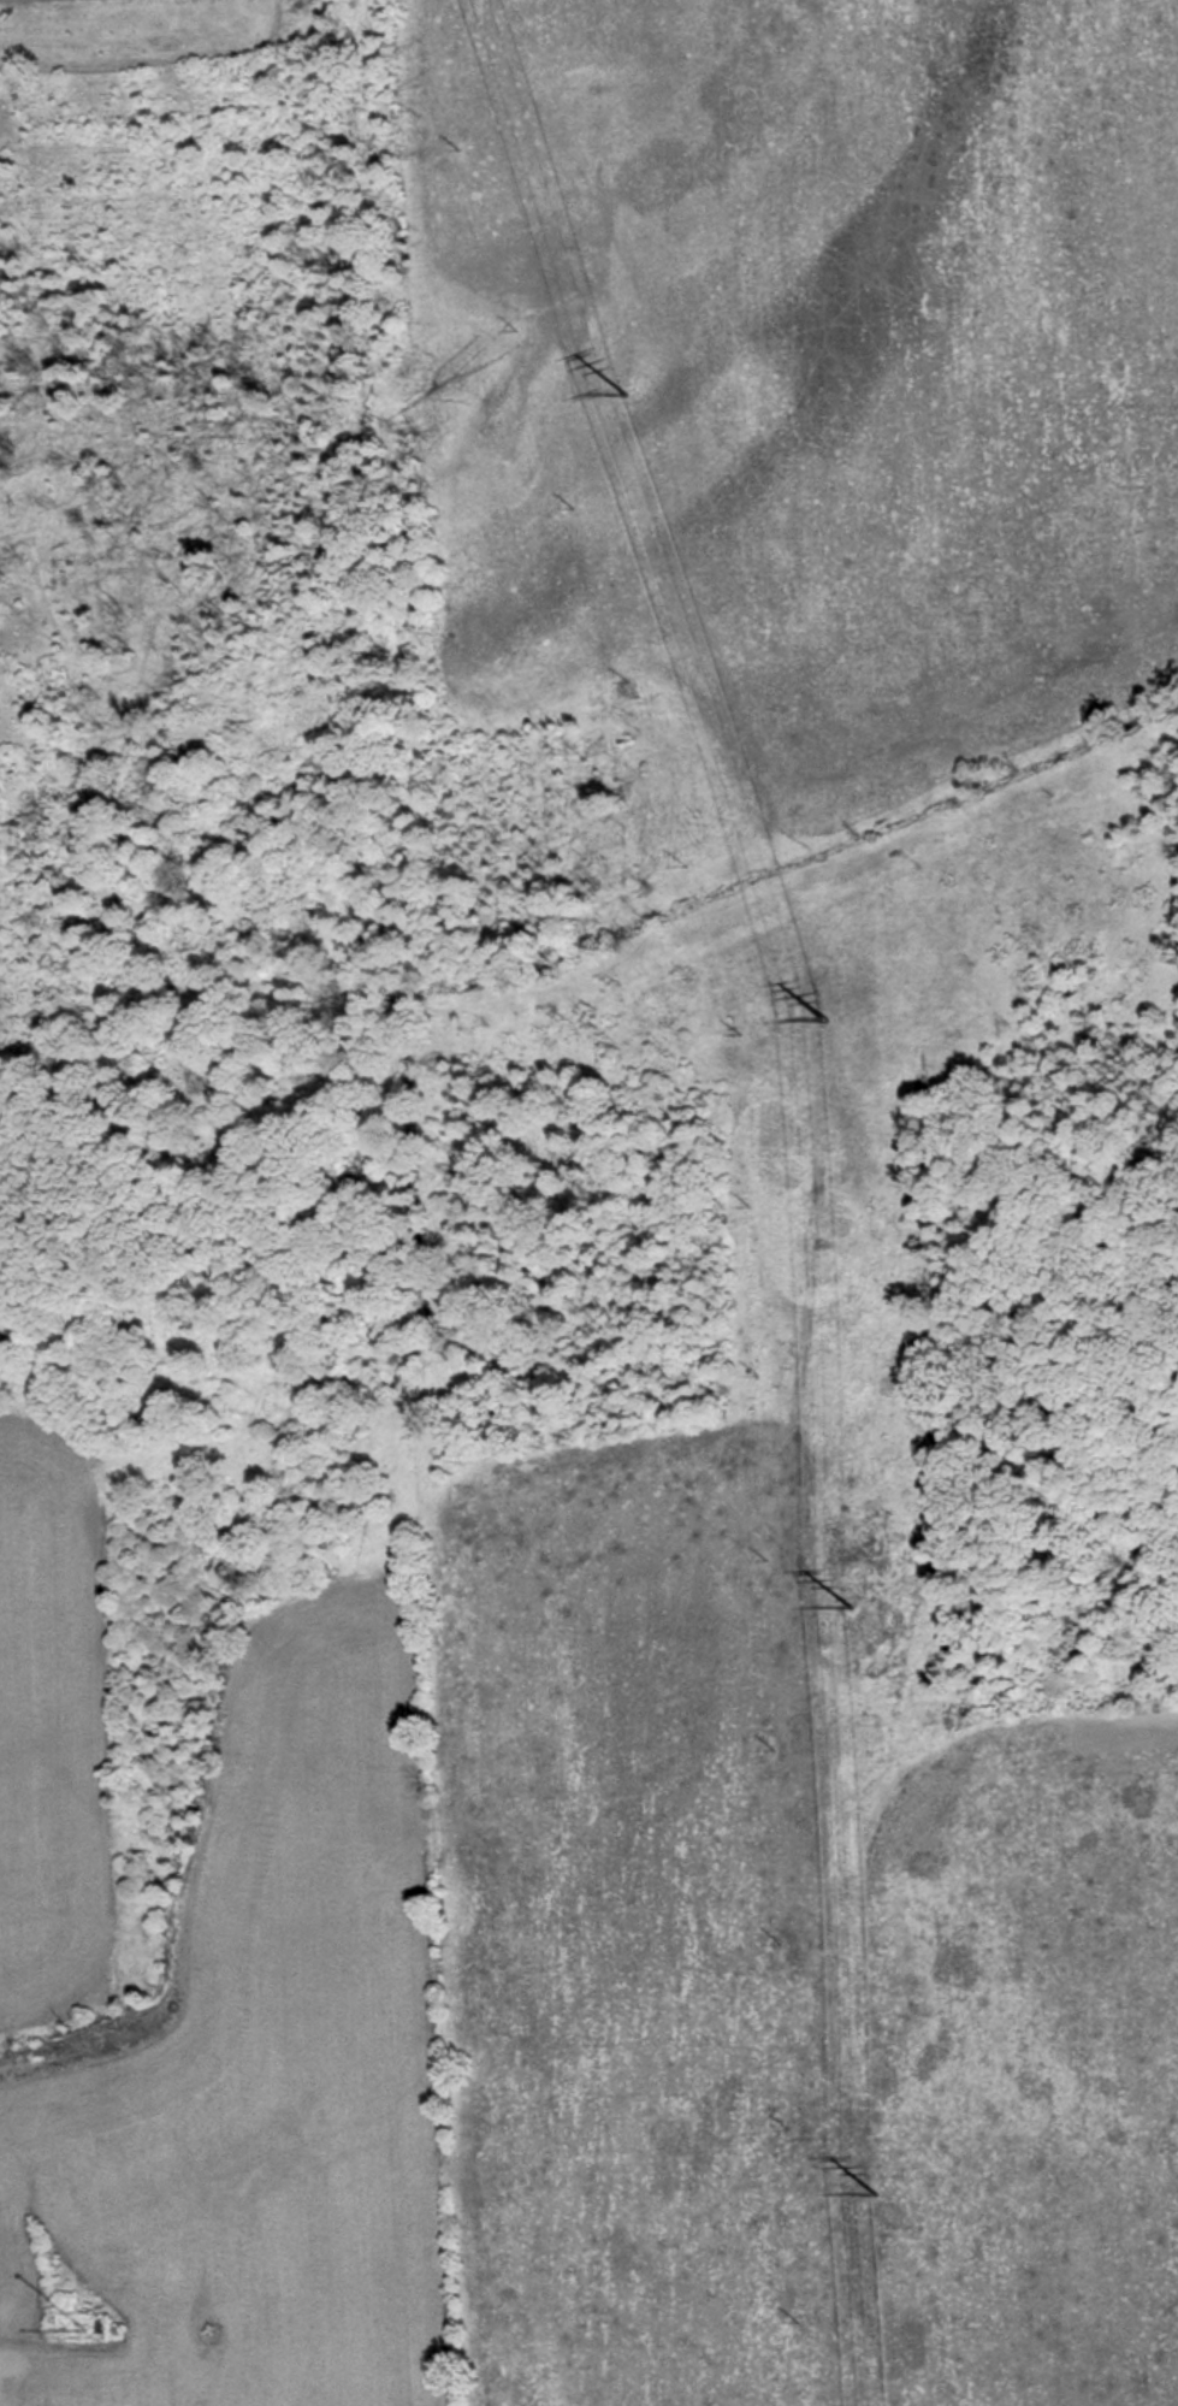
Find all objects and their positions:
power tower: (629, 390)
power tower: (825, 1018)
power tower: (853, 1608)
power tower: (869, 2187)

